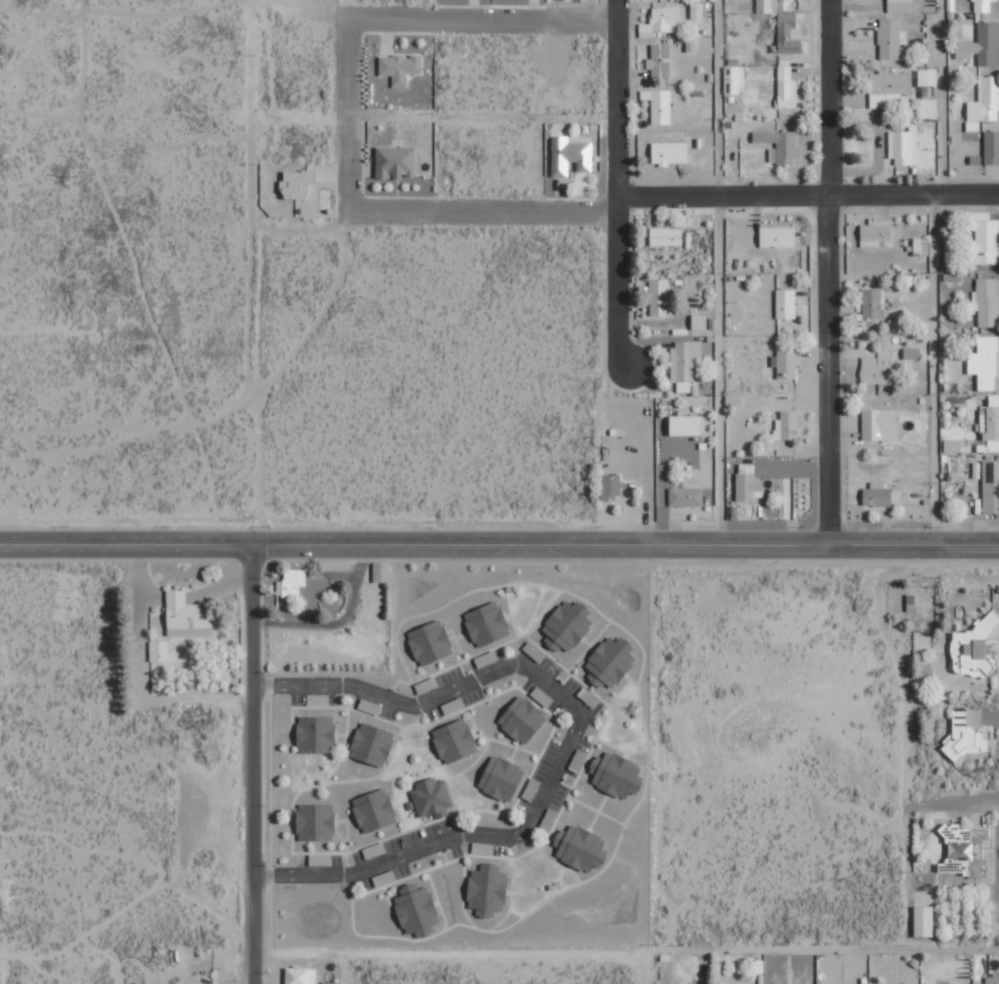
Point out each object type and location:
building: (775, 5)
building: (982, 5)
building: (900, 6)
building: (696, 10)
building: (660, 22)
building: (788, 34)
building: (891, 38)
building: (691, 44)
building: (983, 45)
building: (659, 58)
building: (400, 67)
building: (928, 77)
building: (734, 79)
building: (787, 87)
building: (889, 89)
road: (722, 100)
building: (986, 100)
building: (659, 105)
building: (929, 108)
road: (348, 111)
building: (973, 126)
building: (780, 145)
building: (904, 146)
building: (992, 147)
building: (670, 153)
building: (571, 154)
building: (396, 162)
building: (297, 183)
road: (615, 183)
road: (806, 199)
building: (876, 234)
building: (666, 236)
building: (778, 236)
building: (984, 237)
building: (921, 246)
road: (833, 273)
building: (660, 298)
building: (986, 301)
building: (786, 303)
building: (872, 303)
building: (700, 321)
building: (912, 353)
building: (986, 362)
building: (685, 363)
building: (785, 364)
building: (875, 371)
road: (722, 373)
road: (933, 373)
building: (734, 400)
building: (994, 400)
building: (880, 424)
building: (686, 425)
building: (787, 425)
building: (990, 427)
building: (955, 445)
building: (749, 483)
building: (610, 486)
building: (991, 487)
building: (686, 497)
building: (878, 497)
road: (125, 548)
road: (624, 548)
building: (336, 565)
building: (381, 571)
building: (291, 582)
building: (188, 616)
building: (487, 623)
building: (568, 625)
building: (430, 642)
building: (975, 647)
building: (159, 650)
building: (486, 658)
building: (611, 662)
building: (426, 685)
building: (542, 696)
building: (319, 699)
building: (457, 703)
building: (370, 706)
building: (523, 719)
building: (317, 733)
building: (966, 734)
road: (569, 738)
building: (455, 740)
building: (372, 743)
building: (579, 758)
road: (251, 766)
road: (651, 766)
building: (617, 774)
building: (502, 778)
building: (531, 789)
building: (433, 798)
building: (374, 810)
building: (316, 821)
building: (581, 847)
building: (964, 847)
building: (483, 848)
building: (374, 850)
building: (320, 859)
building: (386, 877)
building: (488, 889)
building: (417, 909)
building: (924, 920)
building: (302, 975)
building: (992, 978)
building: (738, 983)
building: (911, 983)

